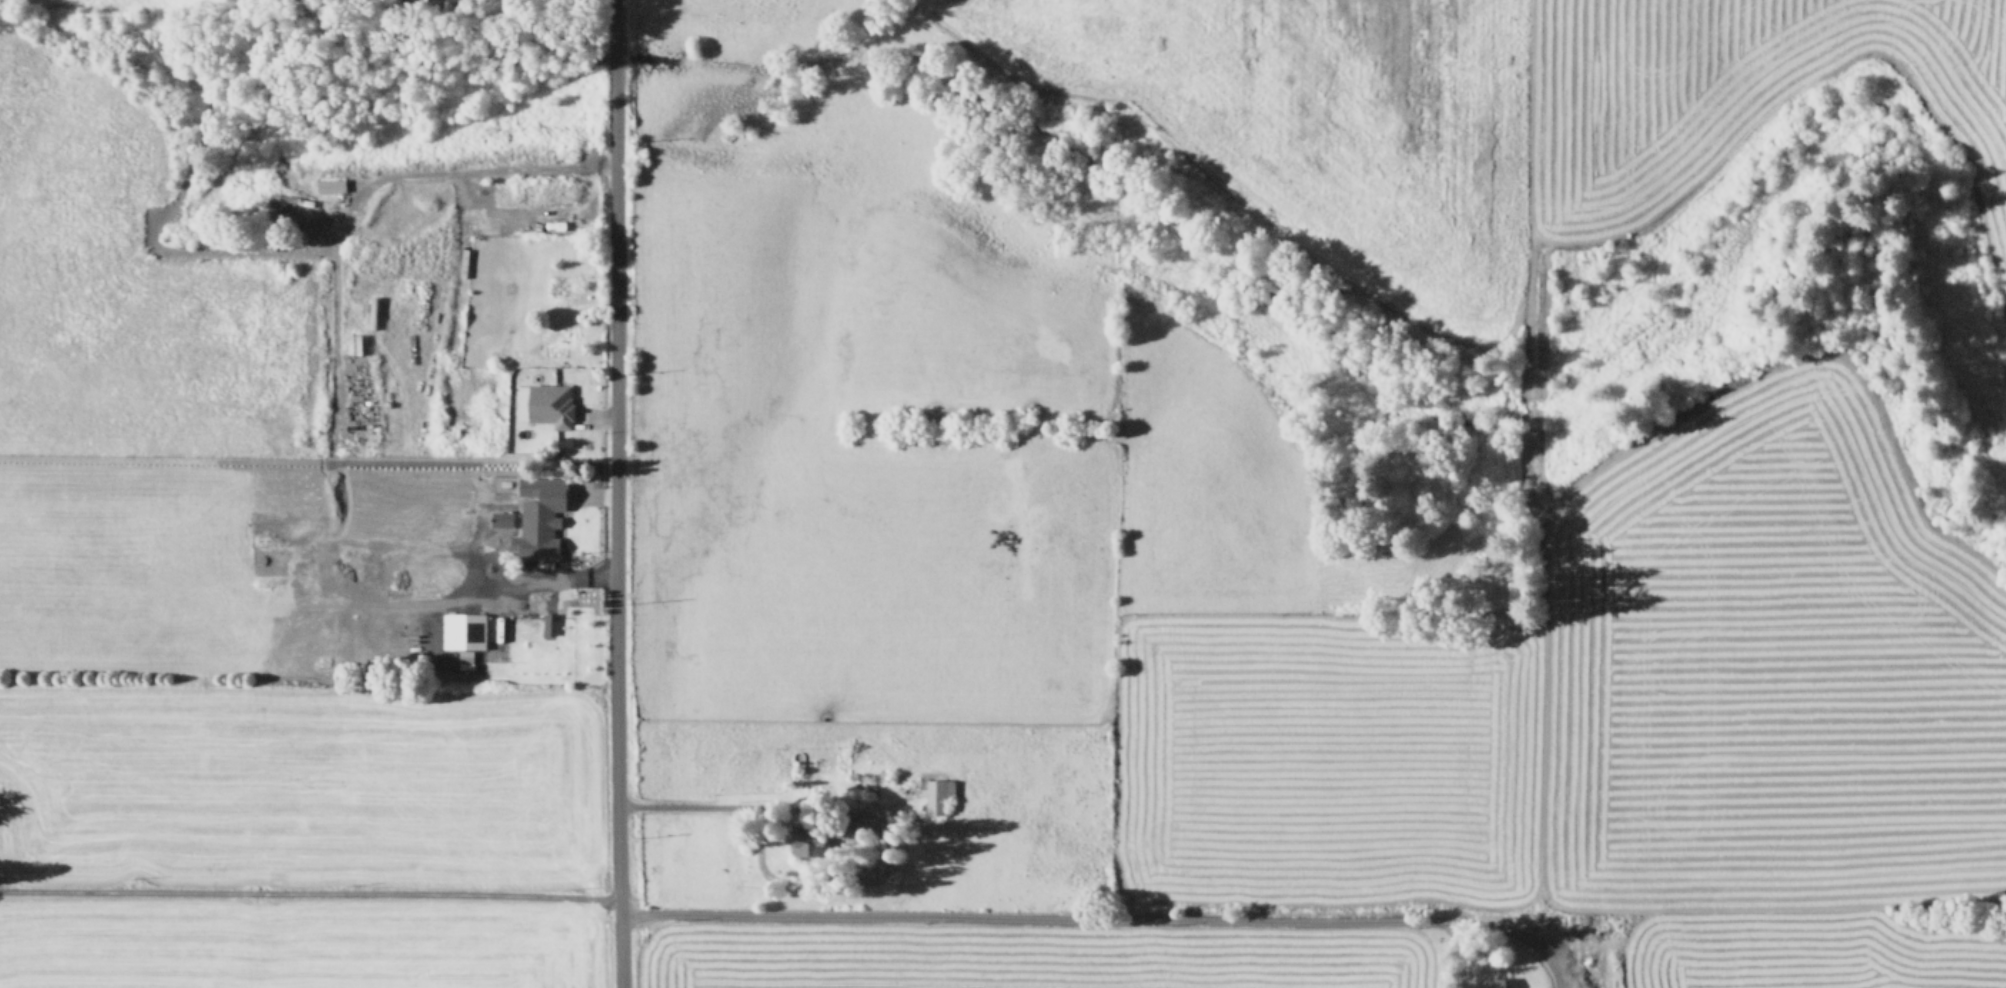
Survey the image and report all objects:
crop: (74, 2)
road: (612, 13)
road: (612, 56)
crop: (1478, 107)
building: (329, 183)
road: (476, 189)
building: (352, 342)
building: (548, 402)
building: (538, 513)
building: (500, 517)
road: (328, 521)
road: (614, 536)
building: (549, 622)
building: (461, 629)
crop: (872, 631)
building: (937, 793)
road: (691, 805)
building: (802, 840)
road: (730, 912)
road: (1523, 935)
road: (1460, 953)
building: (1489, 982)

